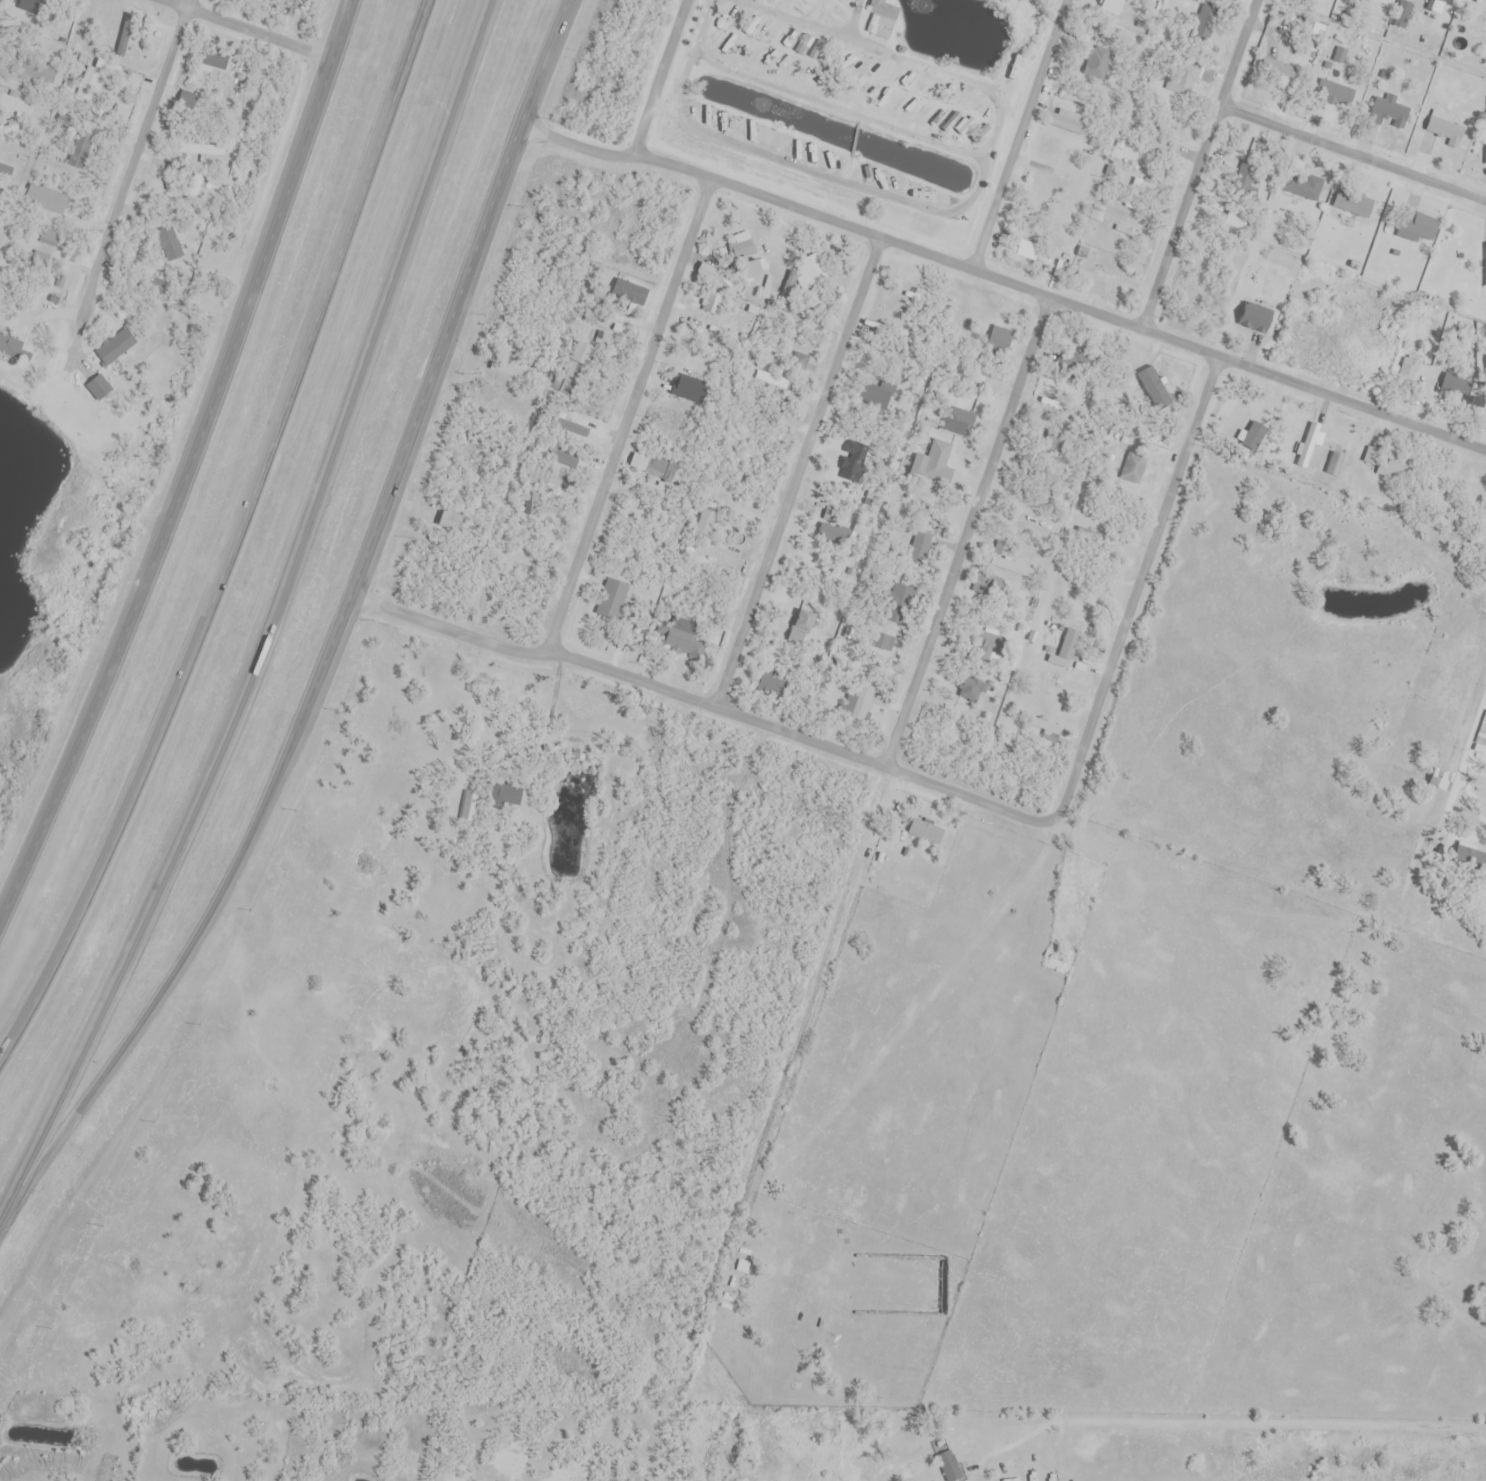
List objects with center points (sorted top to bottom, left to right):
building: (1372, 1)
building: (274, 2)
building: (1435, 6)
building: (1403, 15)
building: (882, 19)
road: (245, 29)
building: (213, 59)
building: (1274, 68)
building: (38, 74)
road: (657, 77)
building: (97, 83)
building: (1335, 93)
building: (1390, 111)
building: (1070, 121)
building: (1445, 131)
road: (1017, 135)
building: (80, 151)
road: (1352, 152)
building: (207, 154)
road: (1197, 165)
building: (2, 170)
building: (1247, 182)
road: (129, 183)
building: (196, 185)
building: (1301, 185)
building: (46, 200)
building: (1353, 205)
building: (1097, 214)
building: (1236, 219)
building: (1418, 225)
building: (1037, 230)
building: (1128, 234)
building: (48, 237)
building: (169, 244)
building: (744, 249)
building: (1034, 255)
building: (214, 263)
building: (1485, 264)
building: (41, 265)
building: (810, 272)
building: (1099, 273)
building: (709, 276)
road: (1003, 282)
building: (629, 295)
building: (715, 305)
building: (1255, 318)
building: (896, 322)
building: (1000, 339)
building: (604, 342)
building: (9, 347)
building: (115, 347)
building: (799, 361)
building: (1073, 361)
building: (1408, 370)
building: (508, 371)
building: (772, 379)
building: (1452, 382)
building: (98, 387)
building: (690, 390)
building: (1152, 395)
building: (509, 406)
road: (625, 413)
building: (956, 421)
building: (1308, 445)
building: (1388, 460)
building: (1336, 465)
road: (188, 466)
building: (932, 466)
building: (657, 468)
building: (1134, 468)
road: (794, 474)
building: (539, 475)
building: (1046, 477)
building: (450, 521)
building: (829, 529)
road: (965, 534)
building: (921, 542)
road: (239, 543)
building: (717, 557)
building: (1007, 562)
road: (1134, 590)
building: (611, 600)
building: (1476, 600)
building: (890, 601)
road: (277, 619)
building: (803, 622)
road: (335, 638)
building: (682, 638)
building: (878, 648)
building: (982, 648)
building: (1066, 650)
building: (770, 687)
building: (858, 703)
road: (700, 705)
building: (1483, 727)
building: (1046, 730)
building: (1440, 780)
building: (504, 795)
building: (470, 806)
building: (926, 832)
building: (587, 1103)
building: (949, 1466)

